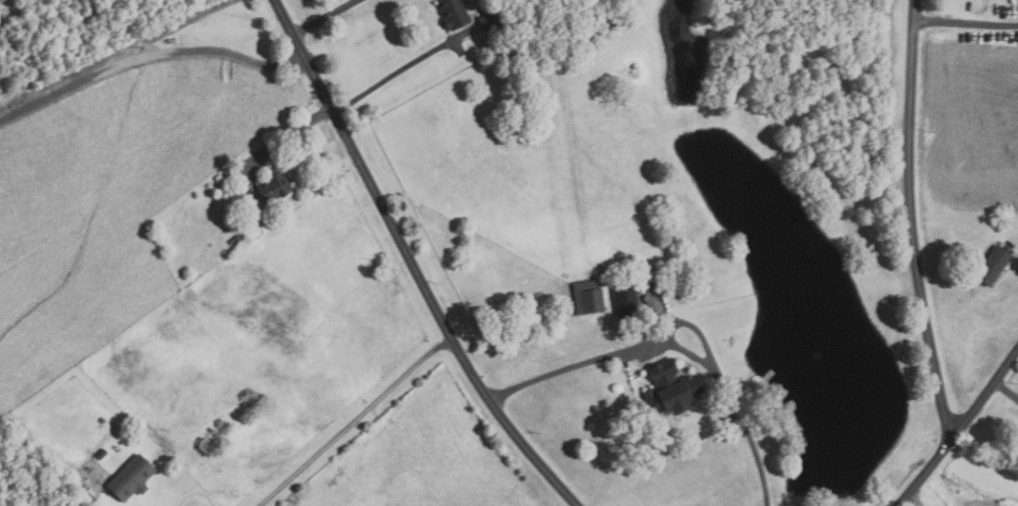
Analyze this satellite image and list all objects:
building: (455, 13)
road: (324, 16)
building: (492, 19)
road: (148, 55)
road: (391, 74)
road: (284, 136)
building: (275, 186)
road: (909, 223)
building: (236, 241)
road: (1015, 261)
road: (413, 262)
building: (990, 265)
building: (649, 276)
building: (589, 297)
building: (627, 300)
road: (678, 335)
building: (673, 388)
road: (1006, 390)
road: (356, 423)
road: (959, 428)
building: (132, 478)
road: (914, 498)

